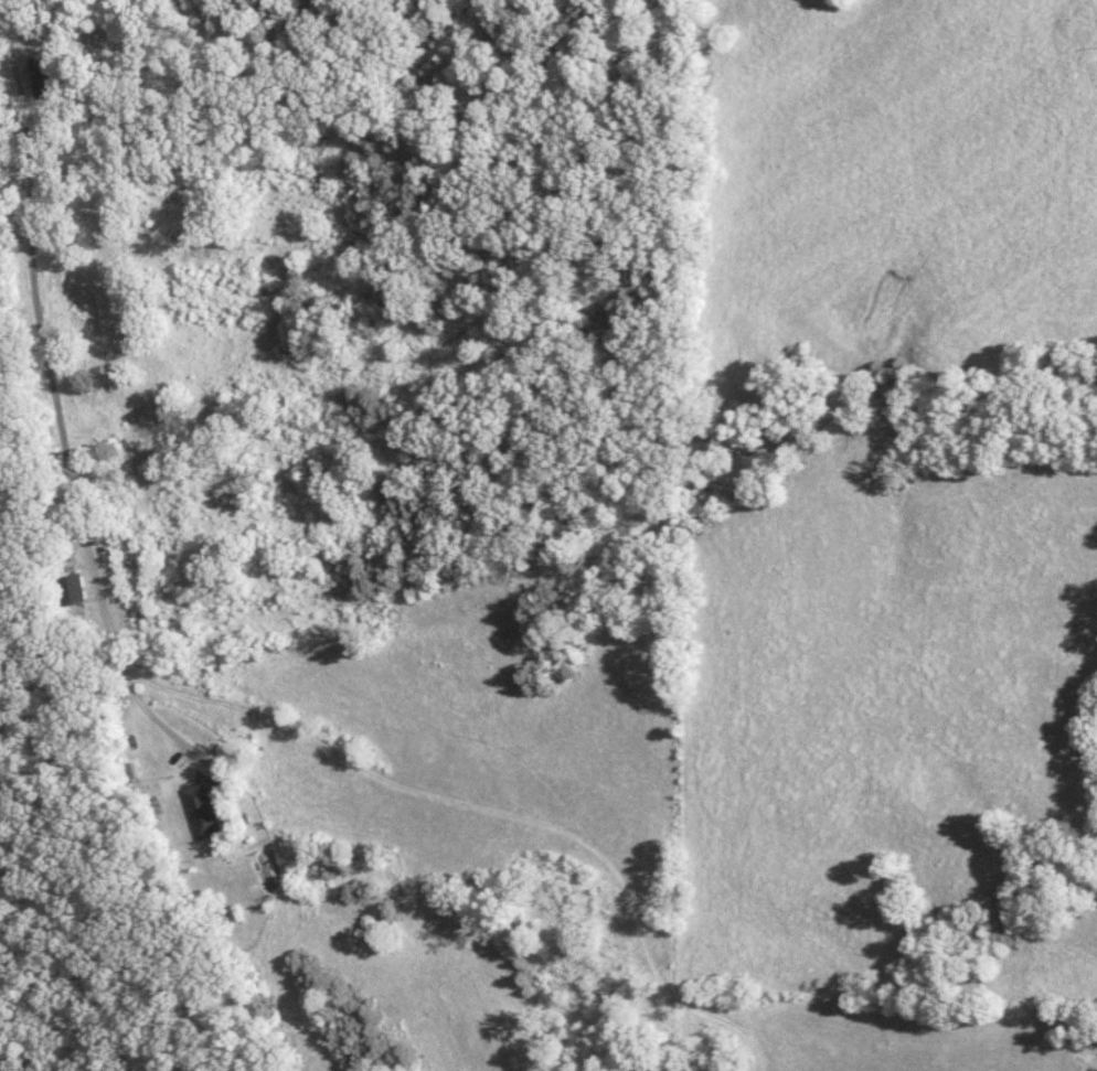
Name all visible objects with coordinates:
building: (34, 77)
road: (52, 410)
building: (68, 589)
building: (196, 810)

